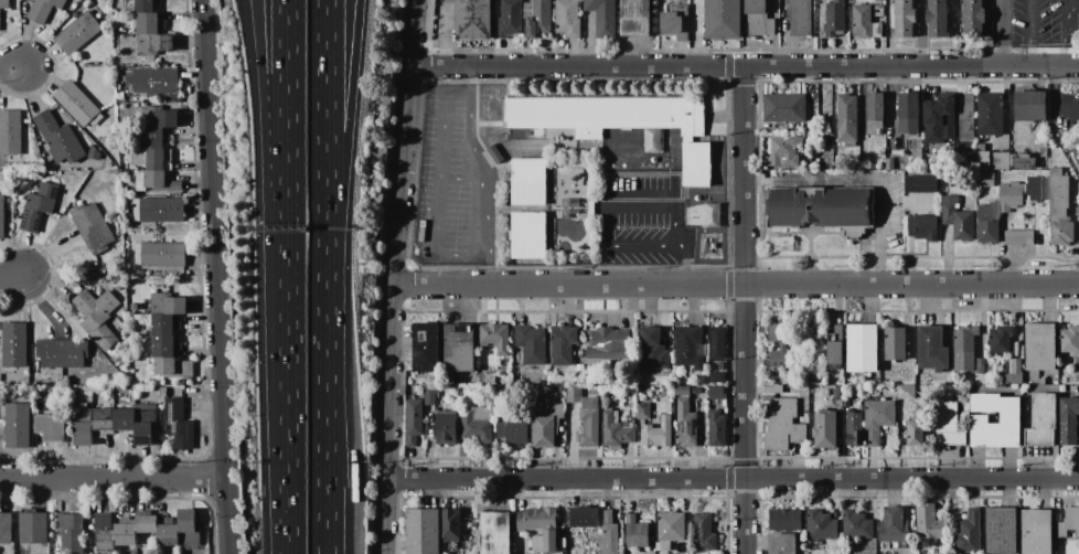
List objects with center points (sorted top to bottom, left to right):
building: (4, 4)
building: (74, 4)
building: (145, 6)
building: (527, 7)
building: (43, 9)
building: (878, 10)
building: (603, 17)
building: (801, 17)
building: (834, 17)
building: (509, 18)
building: (567, 18)
building: (634, 18)
building: (724, 18)
building: (758, 18)
building: (904, 18)
building: (472, 19)
building: (538, 19)
building: (938, 19)
building: (973, 19)
building: (675, 21)
building: (148, 22)
building: (865, 23)
building: (77, 32)
road: (1066, 32)
road: (922, 33)
road: (1001, 33)
road: (1027, 33)
building: (1076, 38)
building: (154, 44)
road: (11, 65)
road: (745, 67)
building: (156, 81)
building: (120, 96)
road: (1054, 98)
building: (77, 104)
building: (876, 106)
building: (1030, 106)
building: (783, 107)
building: (608, 111)
building: (909, 111)
building: (989, 114)
building: (160, 115)
building: (847, 117)
building: (968, 118)
building: (126, 119)
building: (939, 119)
building: (1053, 120)
road: (324, 125)
road: (341, 125)
building: (10, 132)
building: (58, 138)
building: (152, 138)
building: (652, 139)
building: (1078, 147)
building: (783, 151)
building: (94, 152)
building: (492, 157)
building: (1005, 161)
building: (696, 163)
building: (890, 163)
road: (270, 164)
road: (287, 164)
building: (153, 169)
building: (82, 173)
road: (487, 173)
building: (627, 177)
road: (463, 178)
building: (985, 178)
building: (620, 179)
building: (528, 182)
building: (921, 184)
road: (437, 187)
building: (1034, 188)
building: (125, 191)
building: (1058, 192)
building: (1011, 195)
building: (124, 200)
building: (570, 203)
building: (39, 206)
building: (821, 207)
building: (591, 209)
building: (160, 210)
building: (569, 214)
building: (713, 214)
building: (1, 216)
building: (957, 217)
building: (987, 222)
road: (673, 223)
building: (92, 226)
building: (921, 226)
building: (1061, 233)
building: (528, 236)
building: (1017, 236)
building: (705, 239)
building: (781, 244)
building: (713, 245)
building: (162, 253)
building: (139, 271)
road: (223, 276)
road: (396, 276)
road: (12, 277)
road: (737, 284)
building: (168, 305)
building: (135, 307)
road: (747, 311)
building: (98, 316)
building: (162, 324)
building: (838, 329)
building: (495, 337)
building: (1000, 338)
building: (1070, 339)
building: (563, 343)
building: (717, 343)
building: (895, 343)
building: (14, 344)
building: (532, 344)
building: (609, 344)
building: (690, 345)
building: (782, 345)
building: (1040, 345)
building: (426, 347)
building: (460, 348)
building: (652, 348)
building: (862, 348)
building: (931, 348)
building: (964, 348)
building: (1017, 348)
building: (835, 352)
building: (62, 353)
building: (579, 353)
building: (163, 354)
building: (720, 365)
building: (980, 365)
building: (580, 366)
building: (1013, 372)
building: (717, 376)
building: (1, 377)
building: (485, 379)
building: (704, 379)
building: (779, 379)
building: (920, 382)
building: (772, 388)
building: (683, 390)
building: (840, 391)
building: (163, 392)
building: (716, 392)
building: (904, 392)
building: (574, 393)
building: (28, 396)
building: (429, 396)
building: (1027, 398)
road: (325, 402)
building: (844, 403)
building: (695, 404)
building: (79, 405)
building: (643, 409)
building: (549, 411)
building: (877, 419)
building: (1009, 419)
building: (415, 420)
building: (1041, 420)
building: (1069, 420)
building: (590, 422)
building: (686, 422)
building: (104, 424)
building: (178, 424)
building: (478, 424)
building: (948, 424)
building: (18, 425)
building: (783, 425)
building: (50, 427)
building: (853, 427)
building: (446, 428)
building: (616, 428)
building: (716, 428)
building: (512, 429)
building: (824, 429)
building: (542, 432)
building: (915, 432)
building: (658, 433)
building: (143, 434)
road: (287, 441)
road: (113, 479)
road: (730, 479)
building: (537, 516)
building: (584, 516)
building: (103, 519)
building: (784, 519)
building: (929, 522)
building: (146, 523)
building: (1069, 523)
building: (822, 524)
building: (451, 525)
building: (857, 525)
building: (894, 525)
building: (189, 526)
building: (6, 528)
building: (33, 528)
building: (670, 529)
building: (1000, 530)
building: (71, 531)
building: (424, 531)
building: (1036, 531)
building: (494, 532)
building: (635, 532)
building: (704, 532)
building: (969, 532)
building: (610, 533)
building: (125, 534)
building: (169, 535)
building: (103, 541)
building: (546, 541)
building: (781, 543)
building: (1062, 545)
building: (627, 553)

